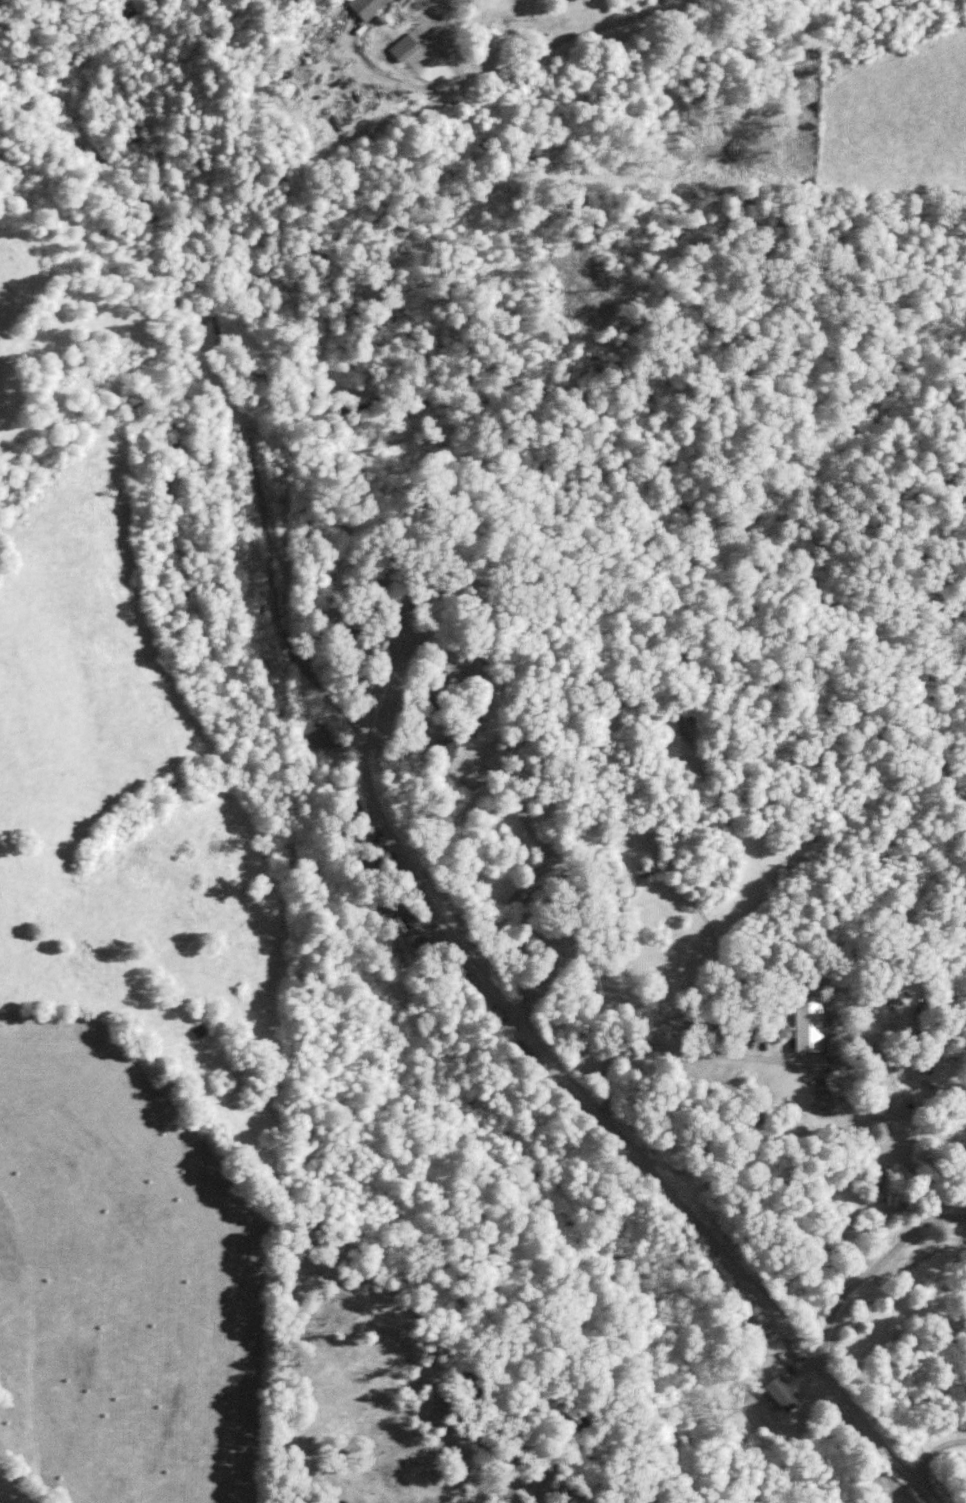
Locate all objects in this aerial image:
building: (364, 7)
building: (401, 48)
building: (806, 1026)
road: (572, 1087)
road: (869, 1265)
building: (779, 1394)

